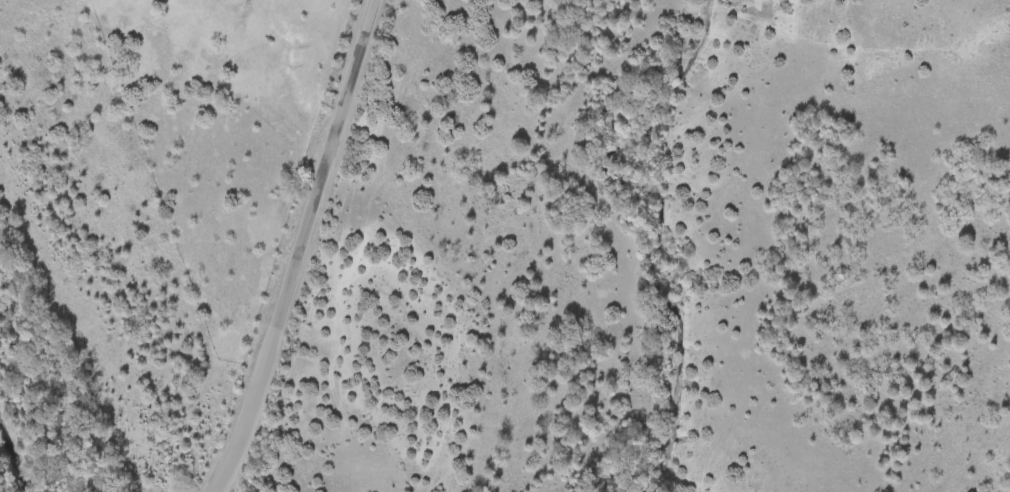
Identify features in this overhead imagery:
road: (295, 248)

